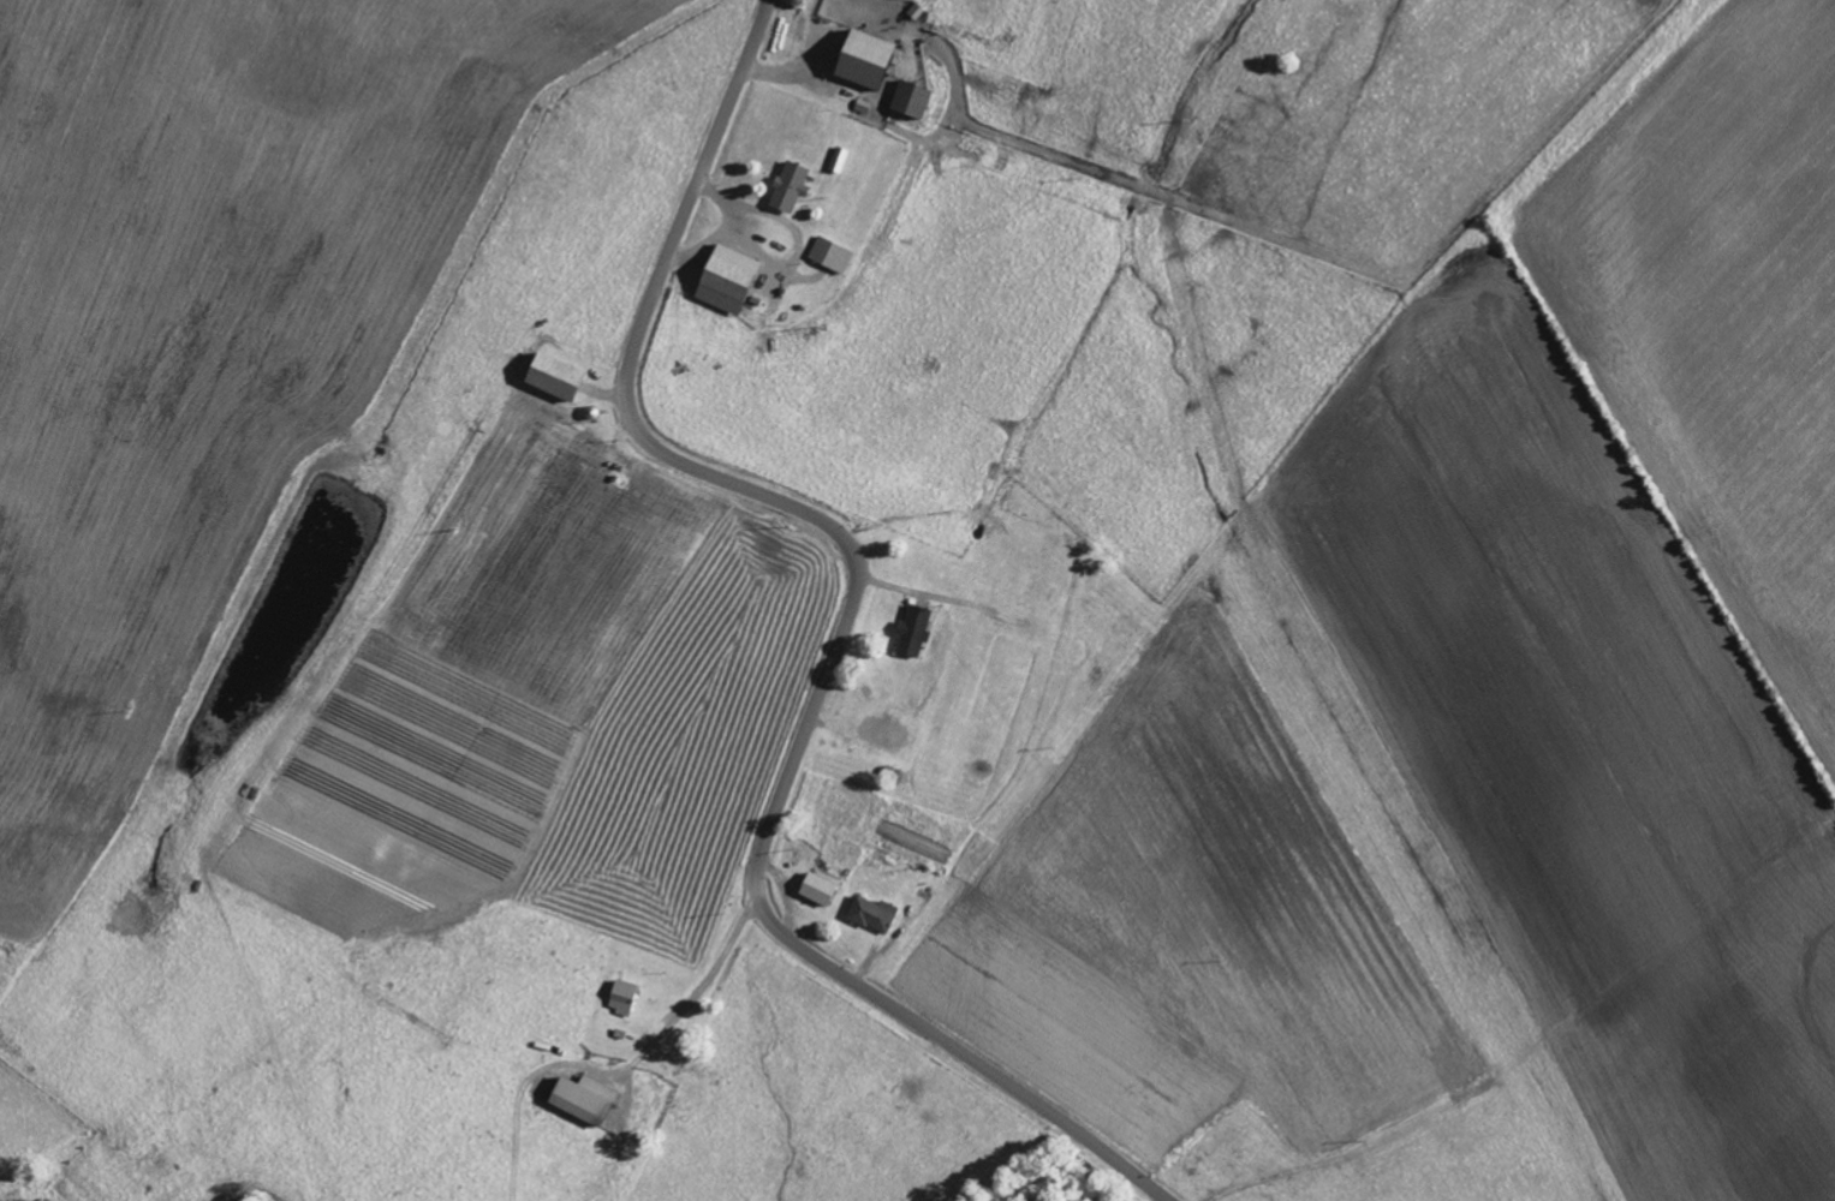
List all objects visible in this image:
building: (872, 60)
building: (916, 100)
building: (841, 160)
building: (793, 187)
building: (834, 256)
building: (732, 280)
building: (560, 377)
building: (917, 632)
road: (842, 633)
building: (822, 890)
building: (876, 915)
building: (626, 998)
building: (590, 1100)

